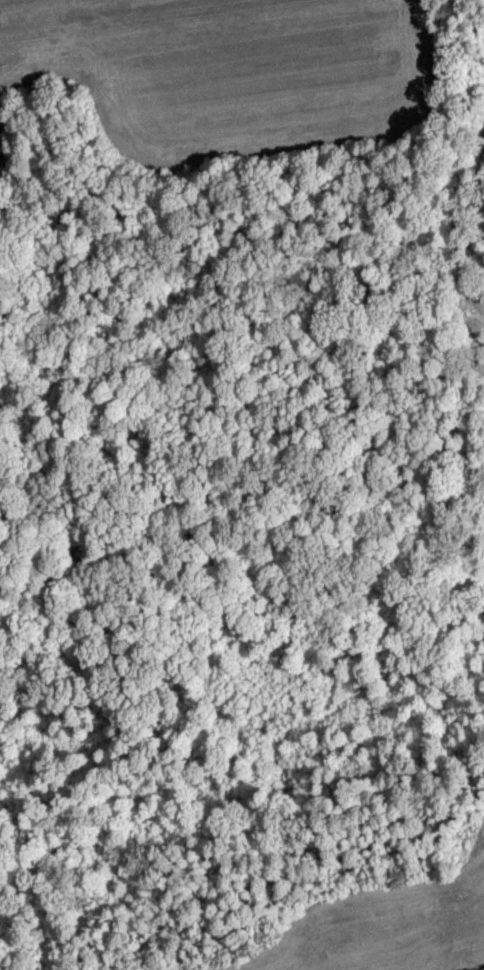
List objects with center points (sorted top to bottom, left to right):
road: (455, 229)

